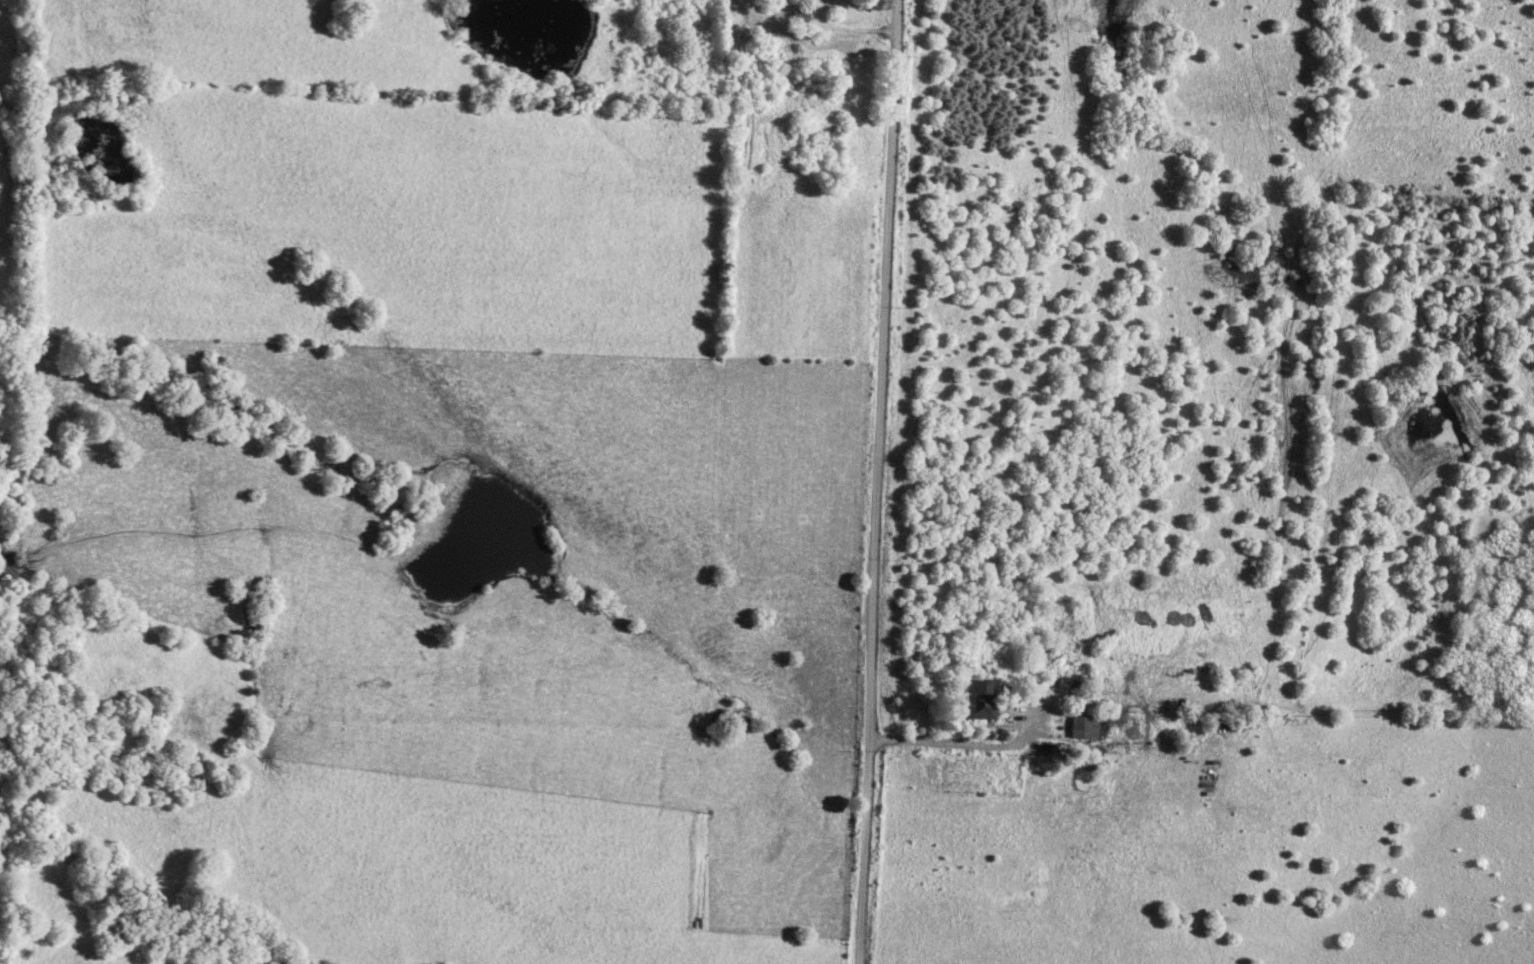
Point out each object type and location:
road: (879, 482)
building: (976, 699)
building: (1078, 726)
road: (956, 741)

